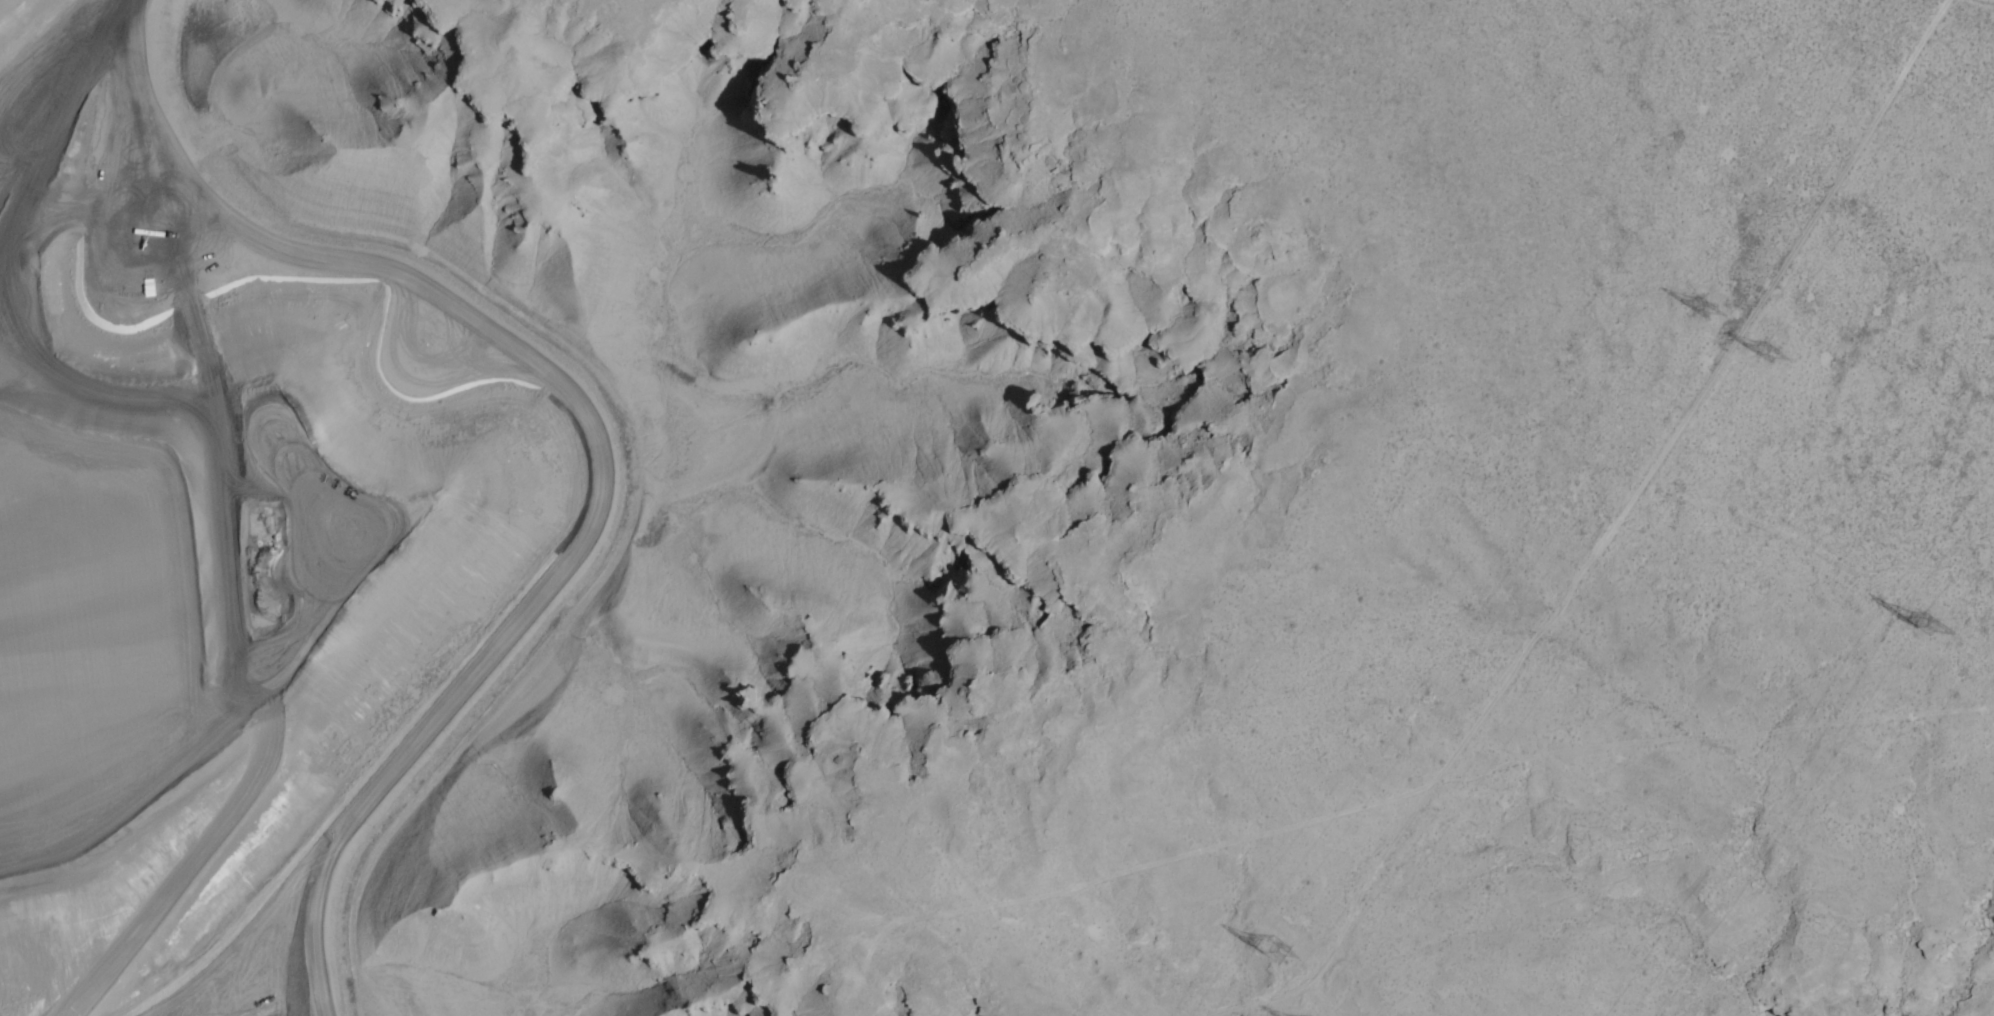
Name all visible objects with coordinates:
power tower: (1702, 300)
power tower: (1769, 350)
power tower: (1919, 617)
power tower: (1281, 945)

